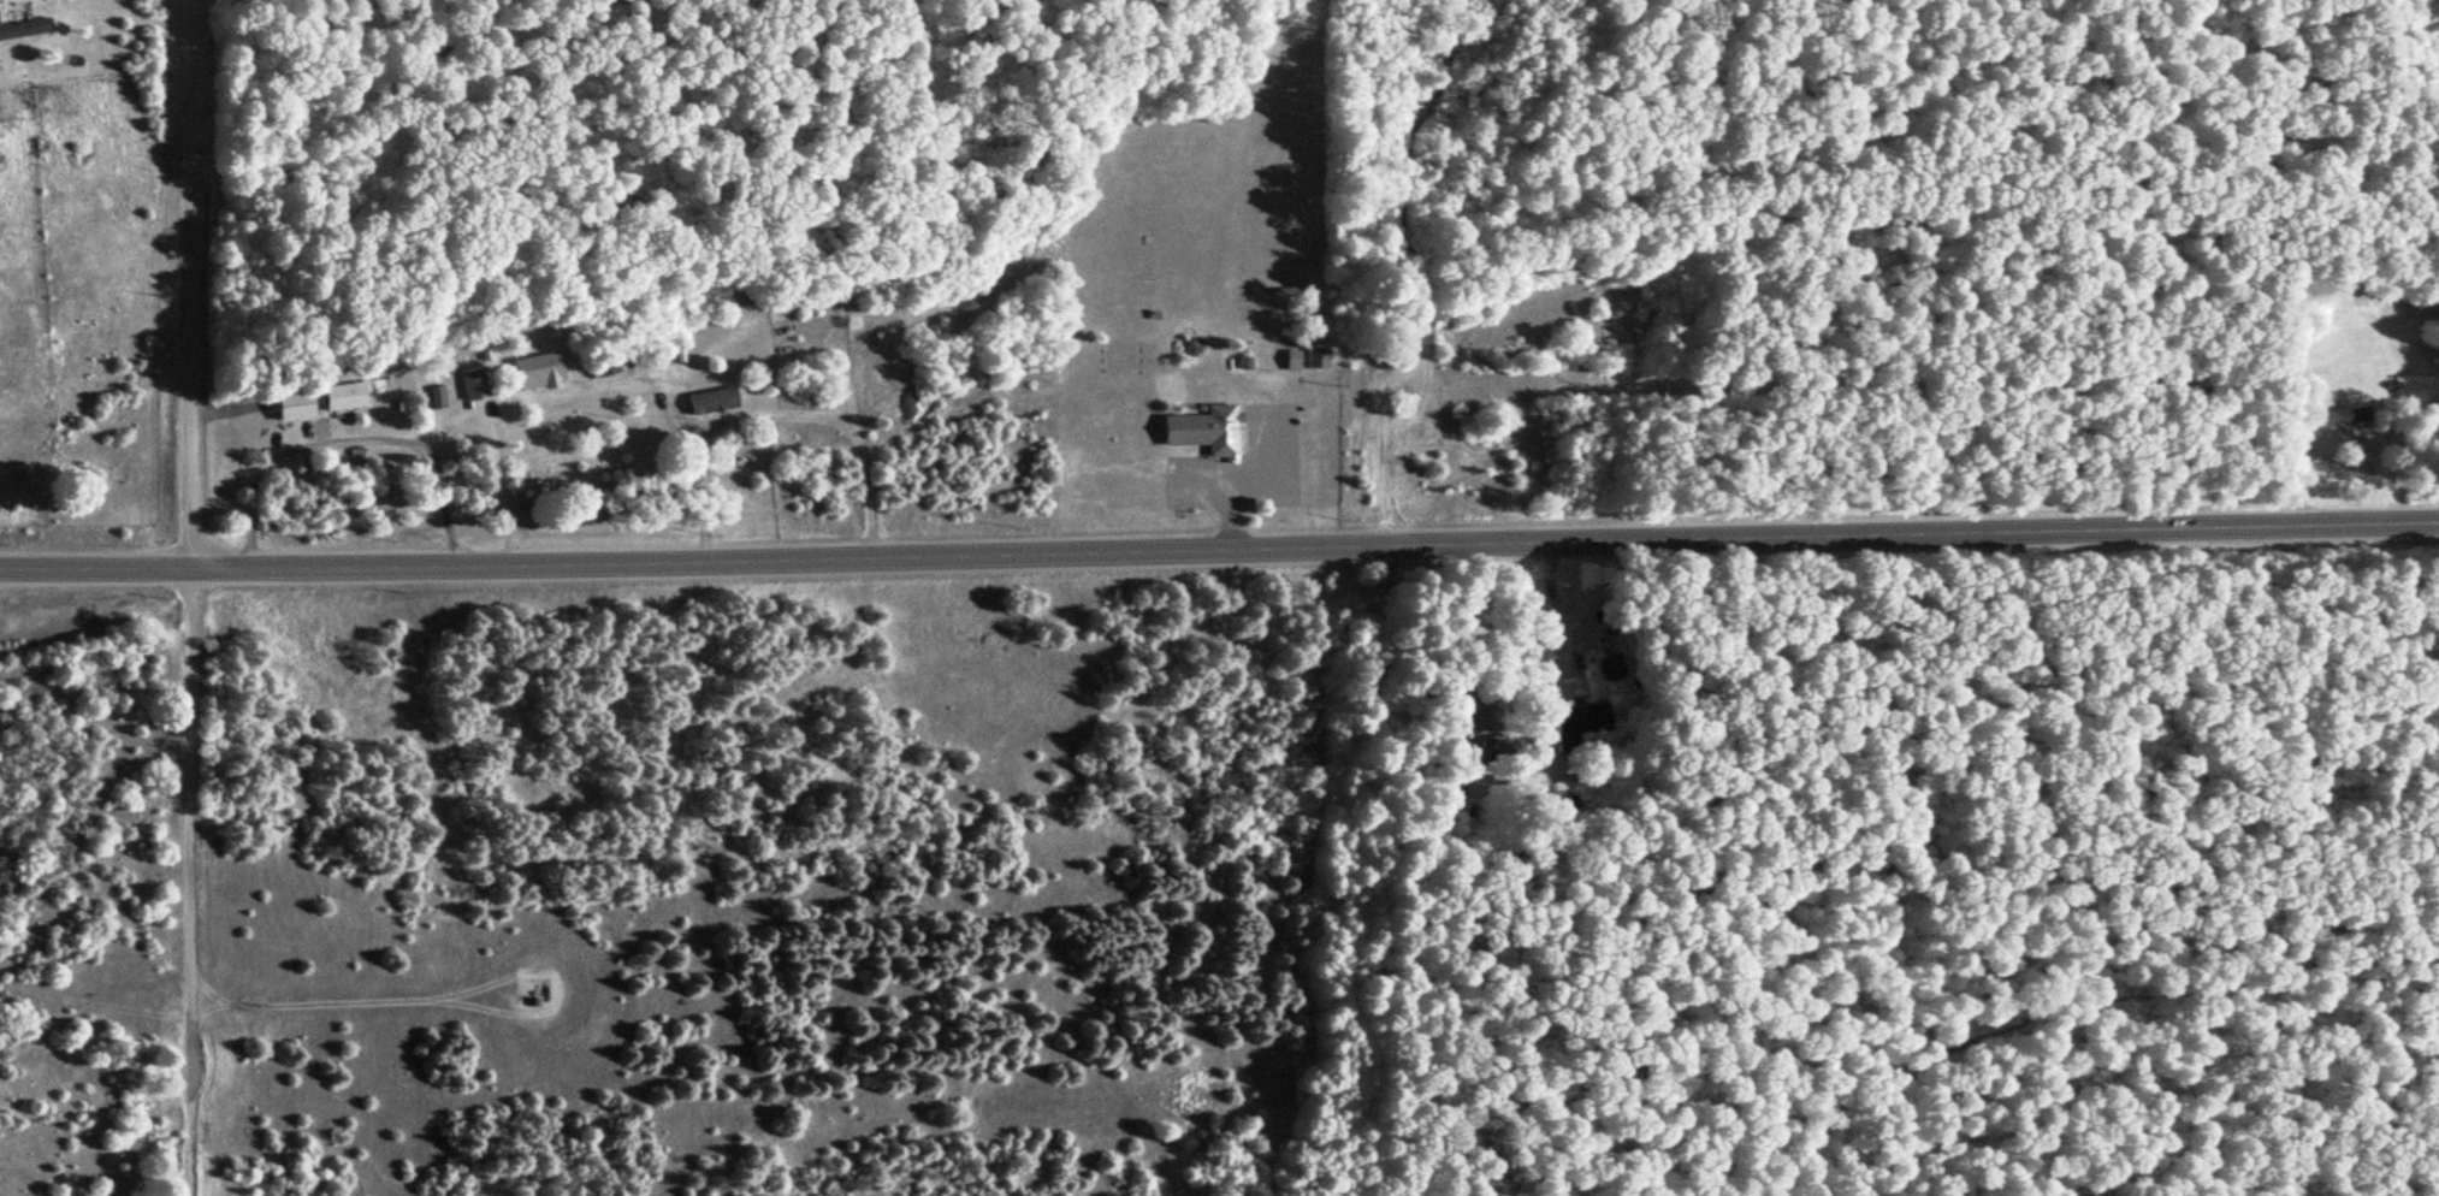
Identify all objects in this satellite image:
building: (25, 30)
road: (1284, 83)
road: (1218, 213)
road: (189, 285)
building: (1316, 357)
building: (1291, 360)
building: (1243, 362)
building: (537, 368)
building: (473, 385)
building: (316, 401)
road: (230, 412)
building: (2343, 418)
building: (1204, 430)
road: (291, 448)
road: (491, 452)
road: (1269, 462)
parking lot: (1239, 466)
road: (2295, 480)
road: (1229, 485)
road: (440, 510)
road: (1219, 547)
road: (1557, 627)
building: (1485, 721)
building: (1576, 723)
building: (1503, 750)
road: (187, 883)
petroleum well: (538, 994)
road: (438, 1000)
petroleum well: (538, 1000)

